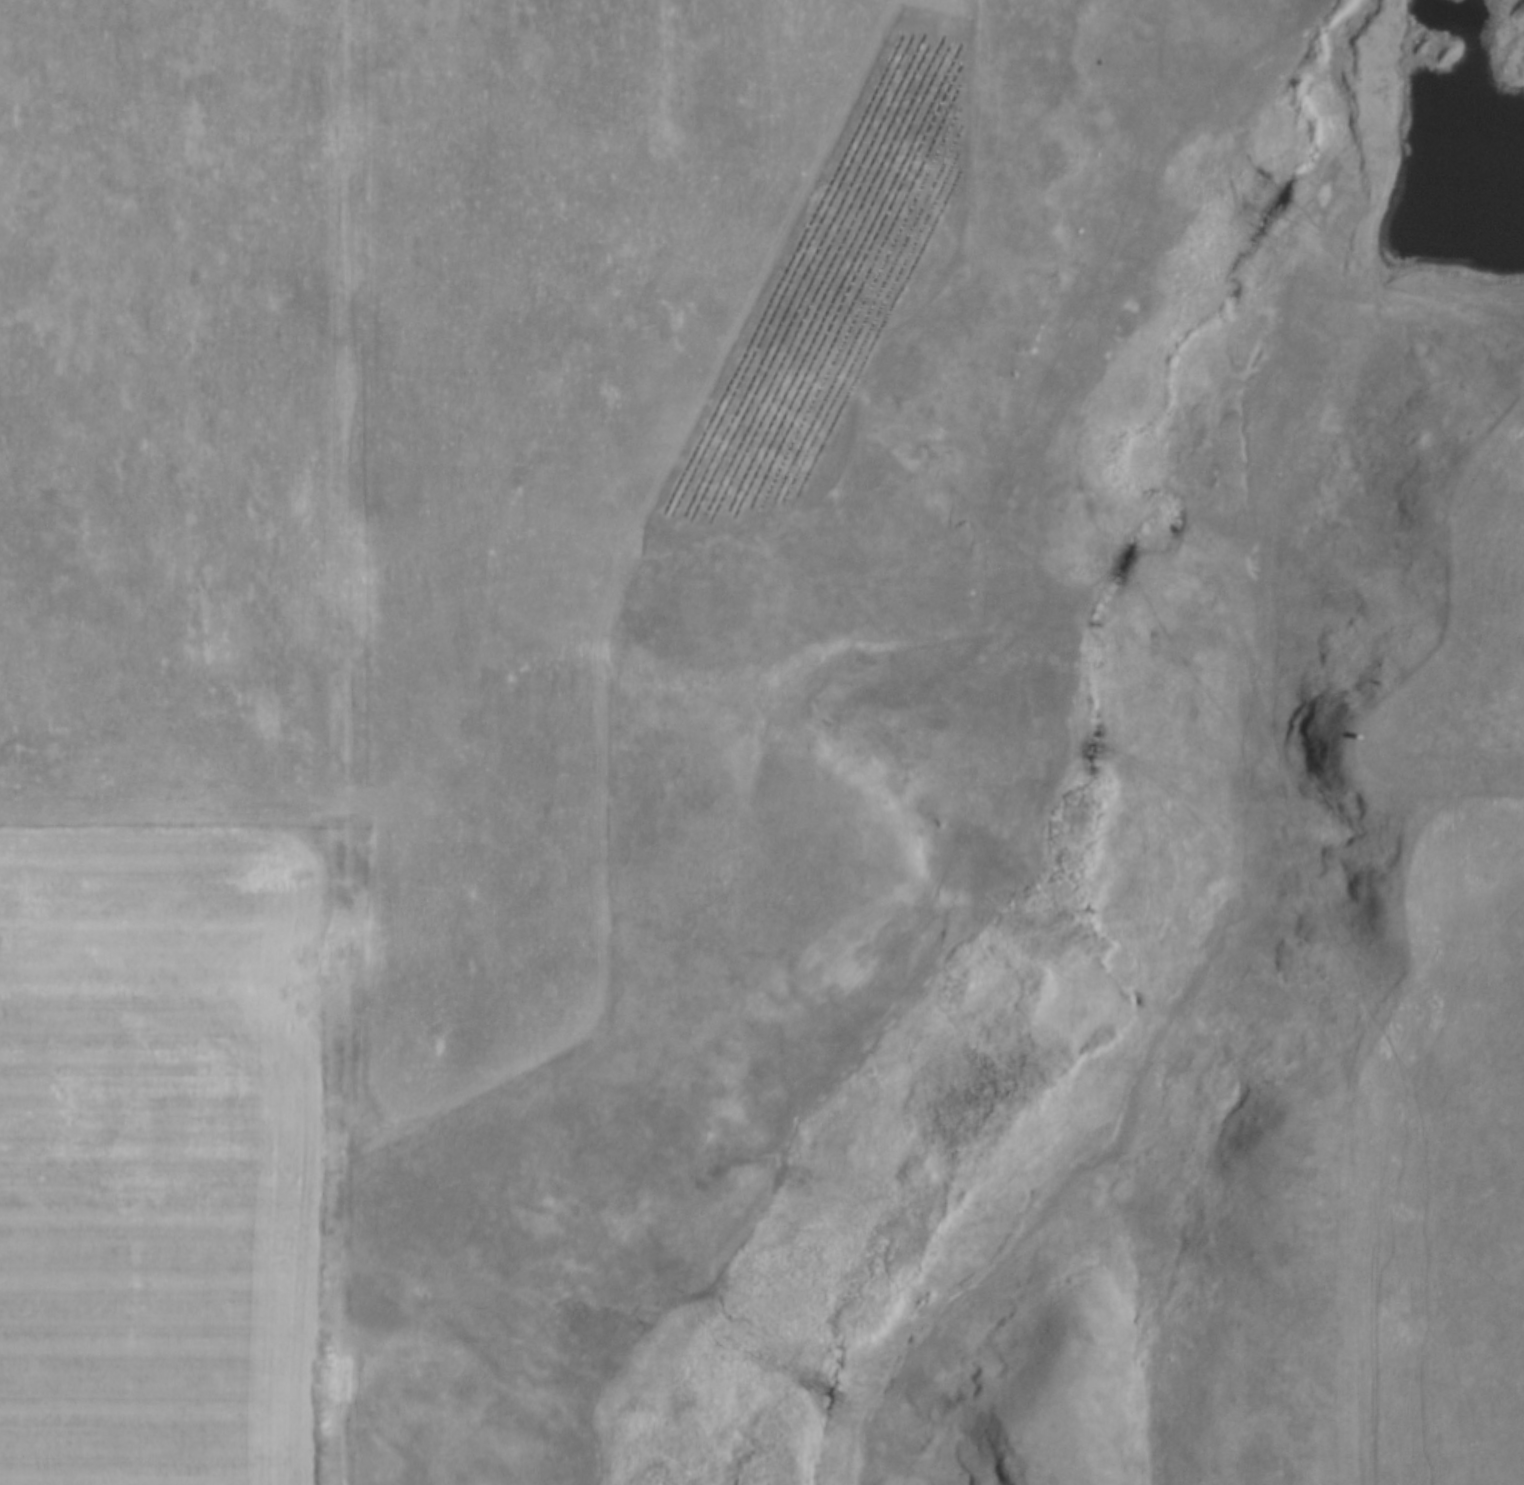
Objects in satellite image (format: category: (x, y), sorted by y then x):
quarry: (1413, 149)
road: (1430, 658)

